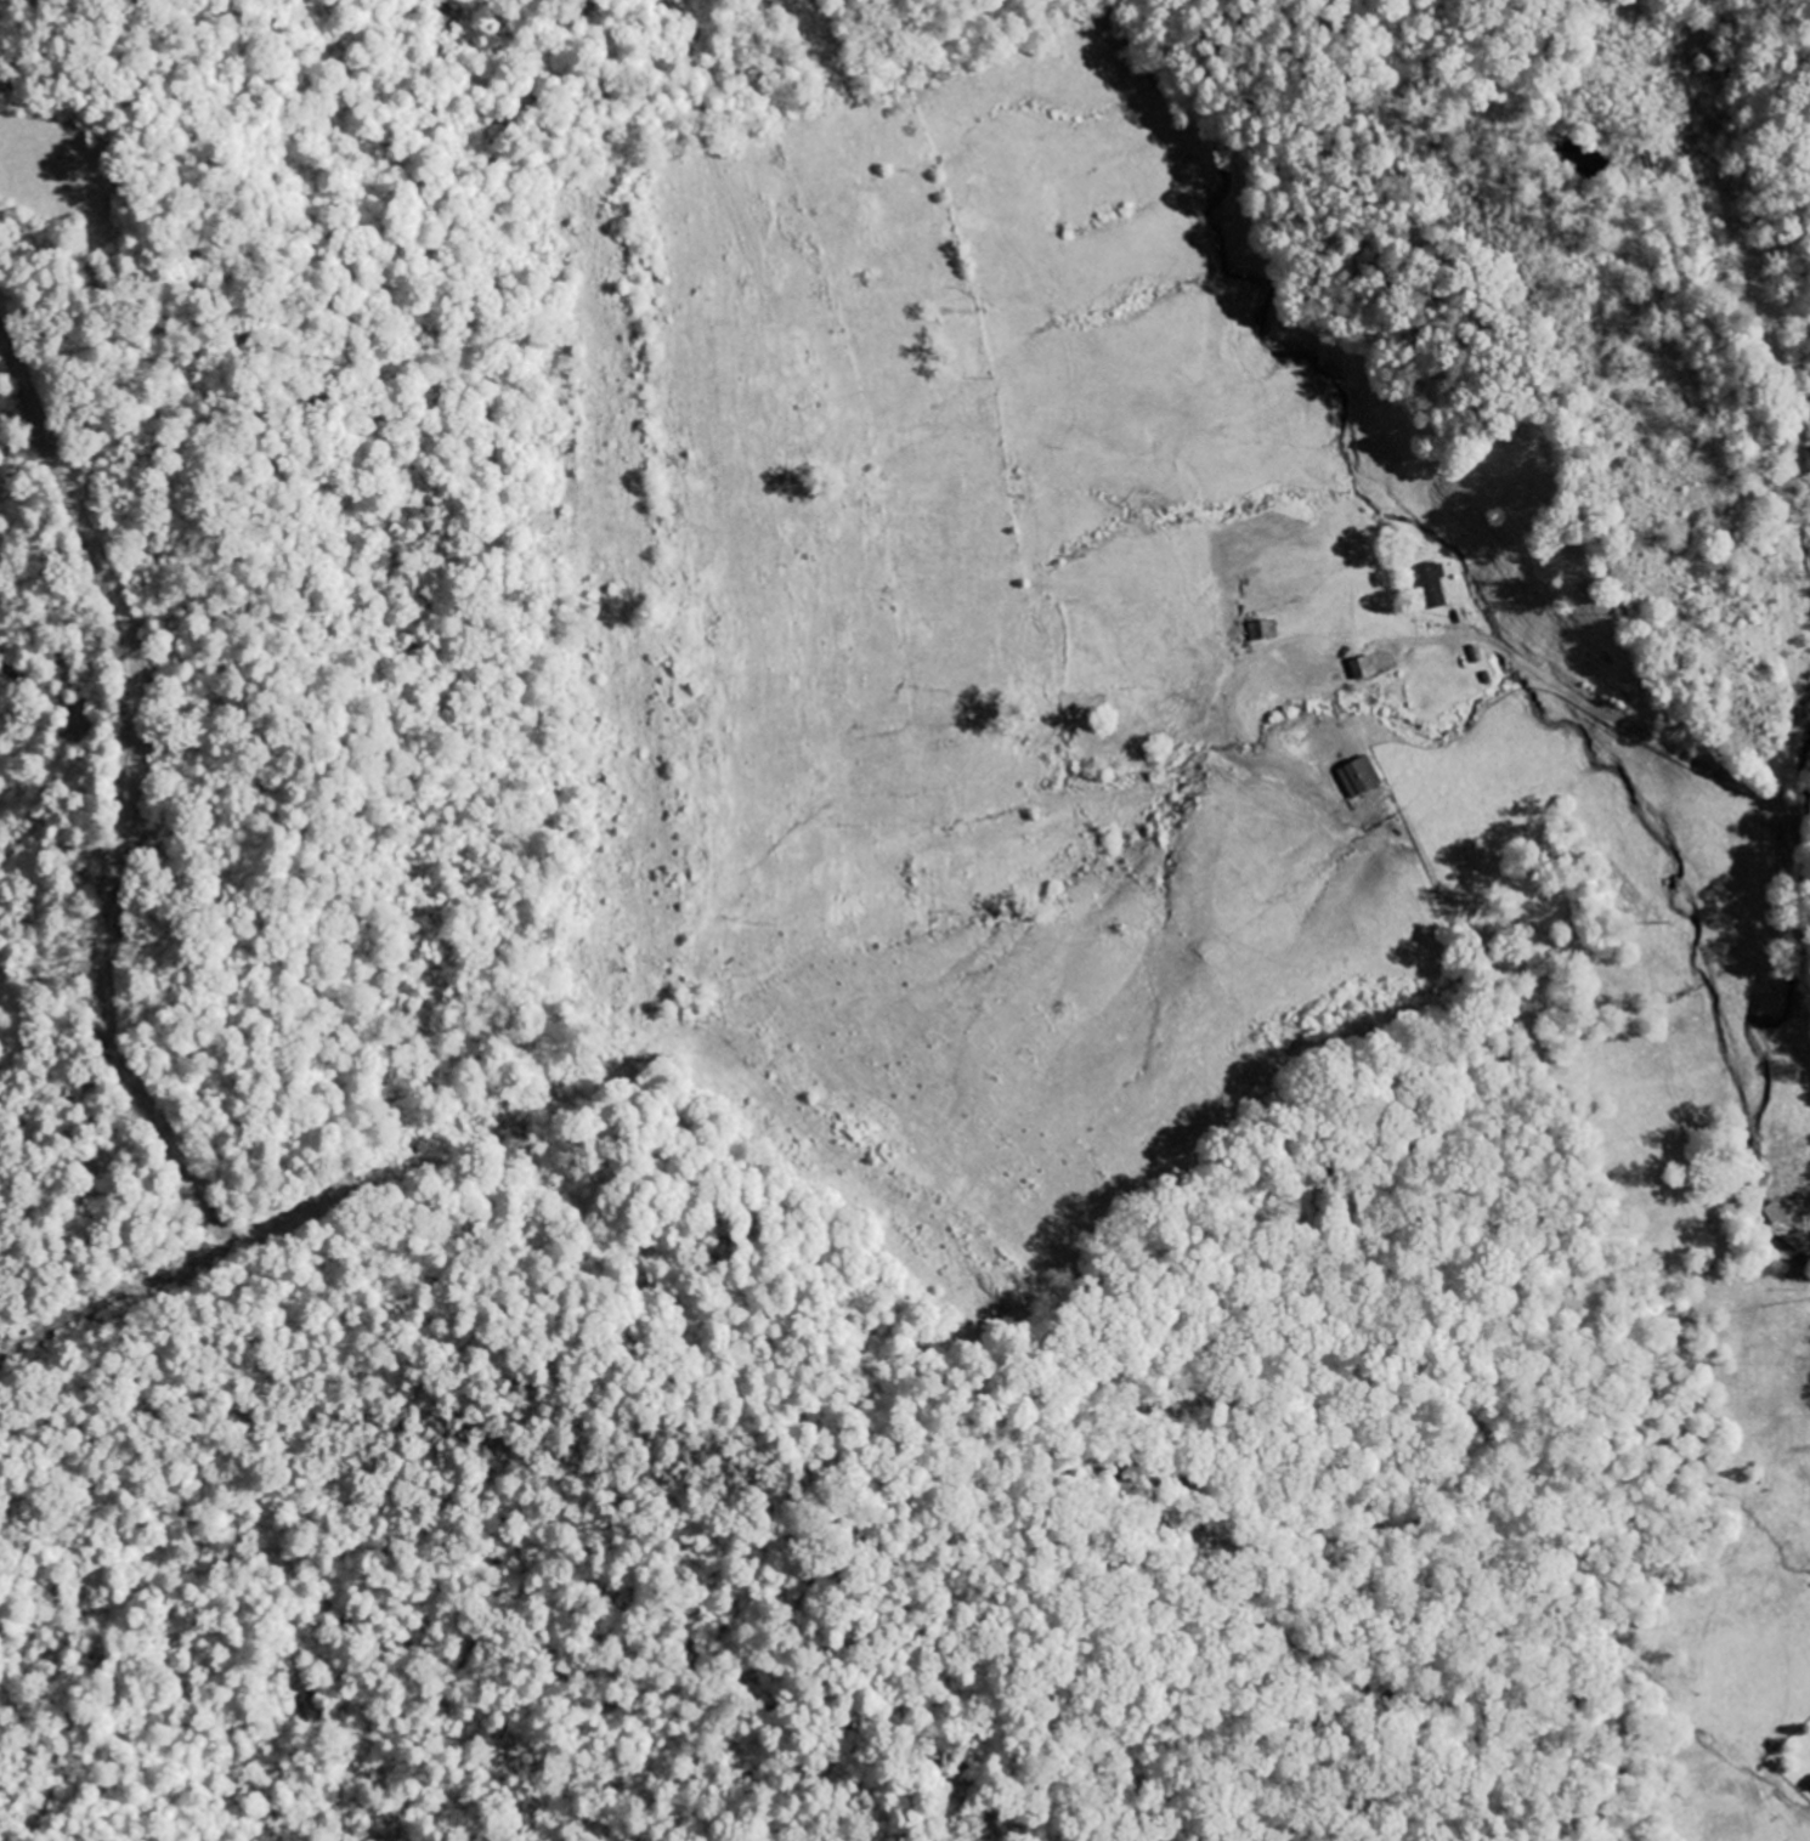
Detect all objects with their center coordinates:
building: (1433, 587)
building: (1265, 631)
road: (1686, 761)
building: (1362, 778)
road: (131, 831)

